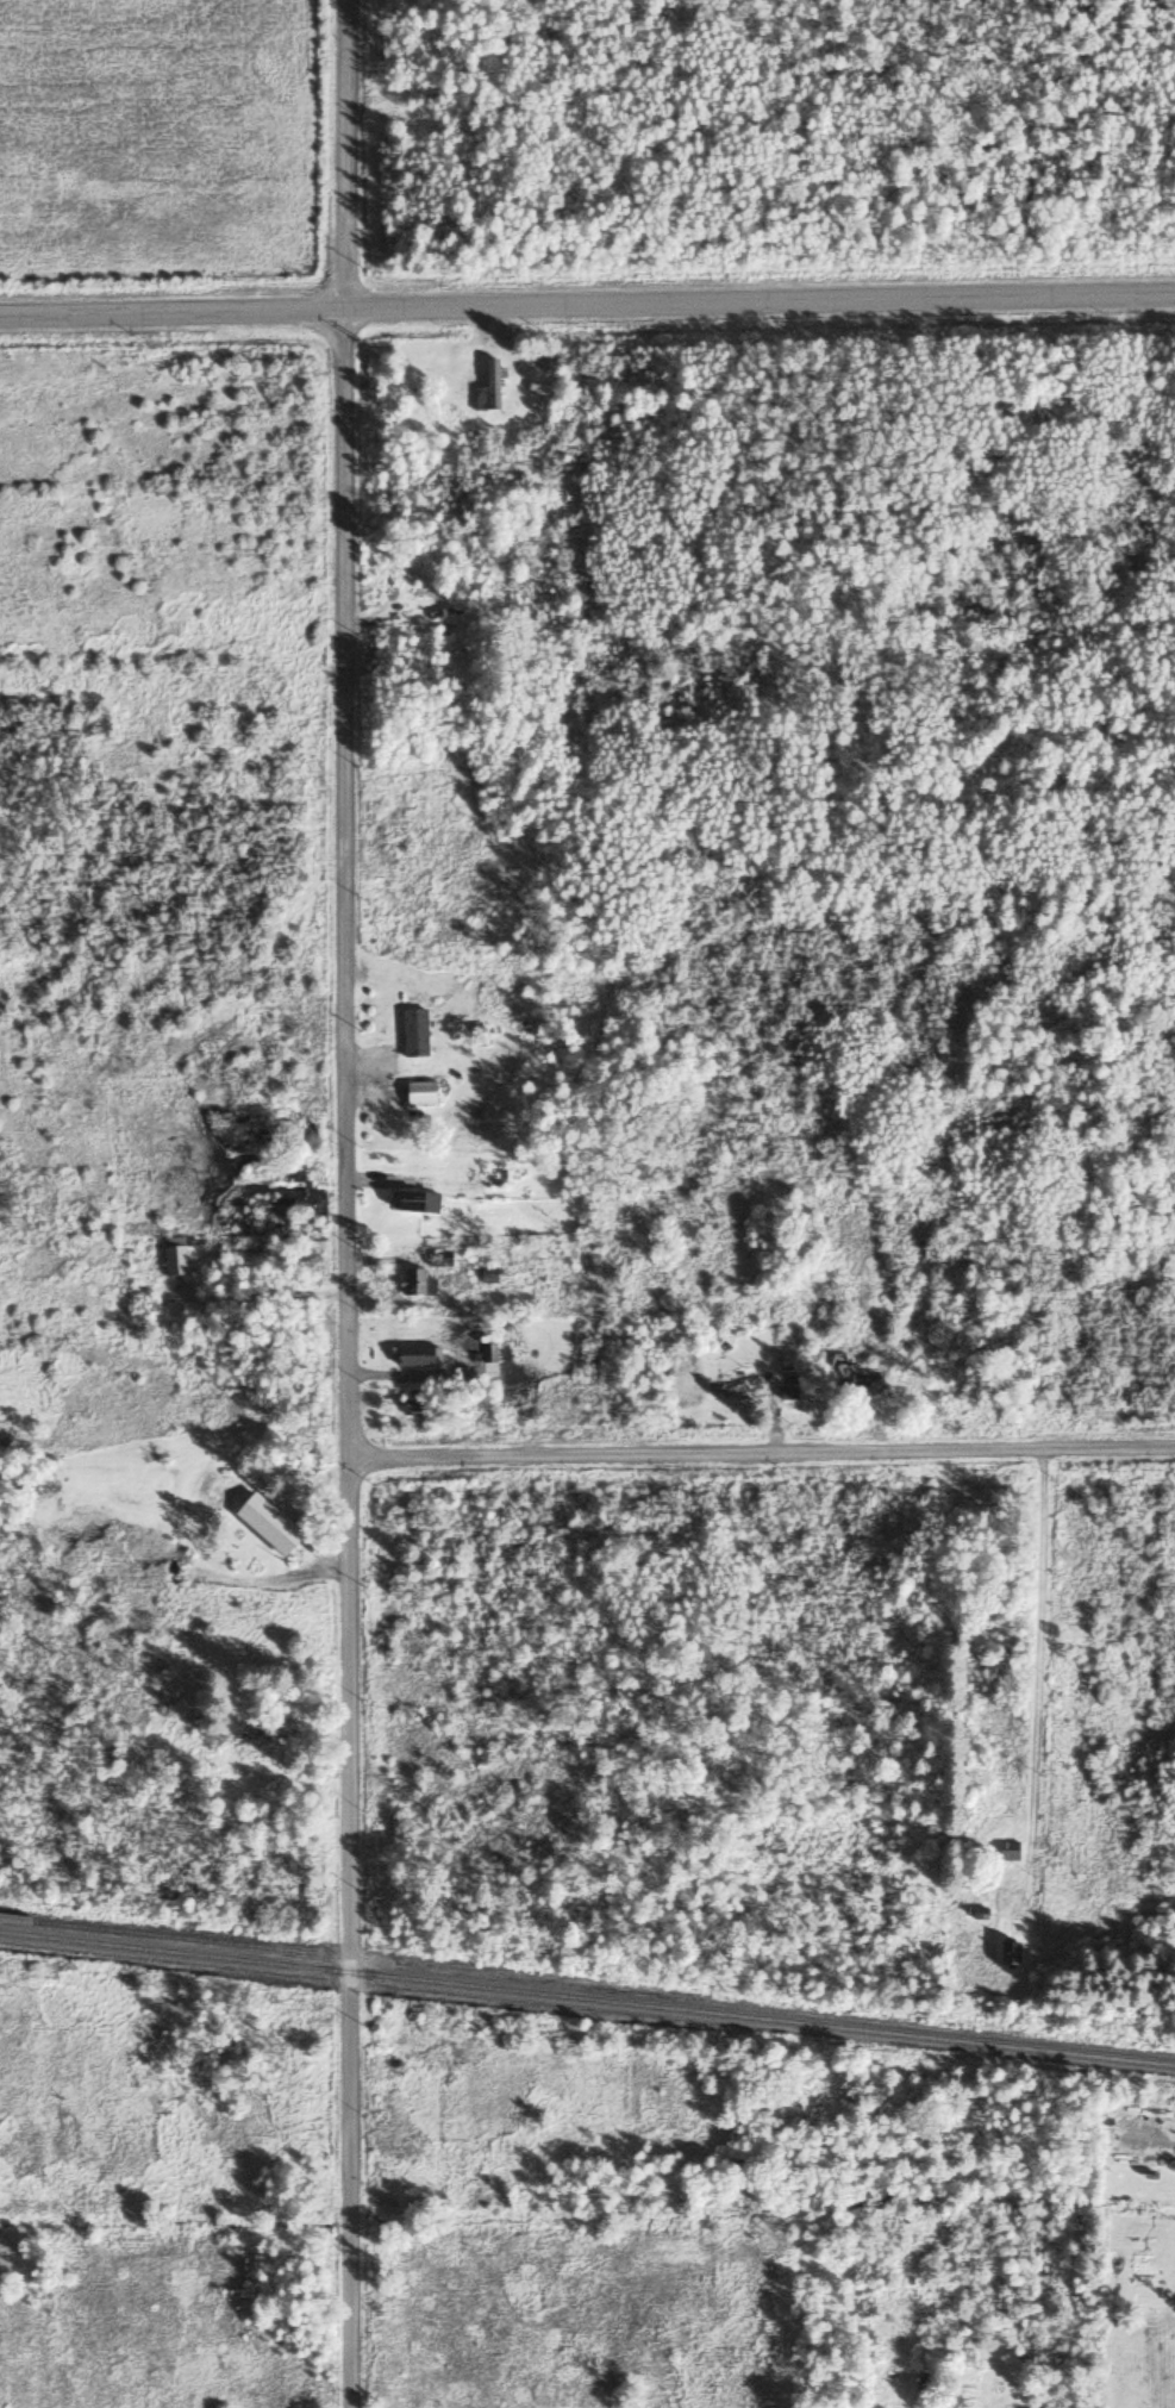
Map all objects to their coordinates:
road: (342, 154)
road: (587, 304)
building: (488, 391)
building: (413, 1034)
building: (413, 1204)
building: (439, 1256)
building: (486, 1277)
building: (415, 1285)
building: (487, 1354)
road: (342, 1358)
building: (414, 1358)
building: (1001, 1365)
building: (867, 1370)
building: (743, 1385)
building: (413, 1404)
road: (758, 1451)
road: (1040, 1699)
building: (1007, 1852)
railway: (157, 1936)
building: (1008, 1955)
railway: (587, 2001)

